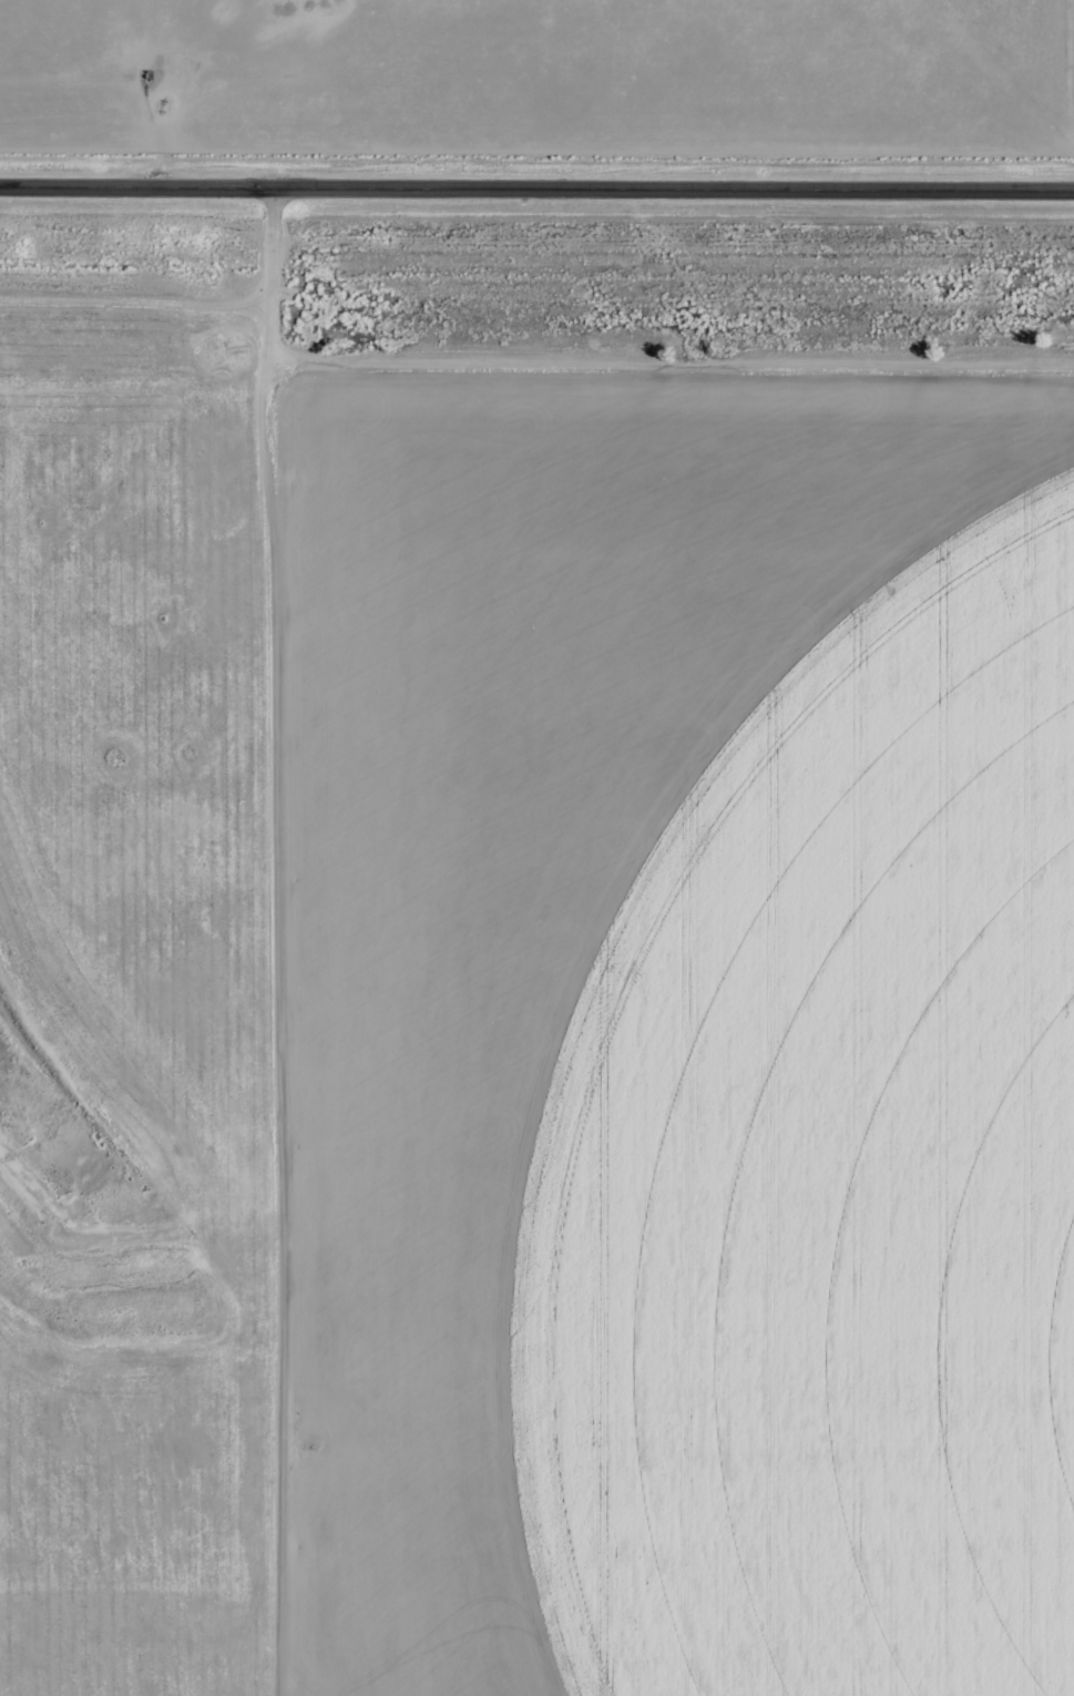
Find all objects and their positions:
road: (536, 187)

